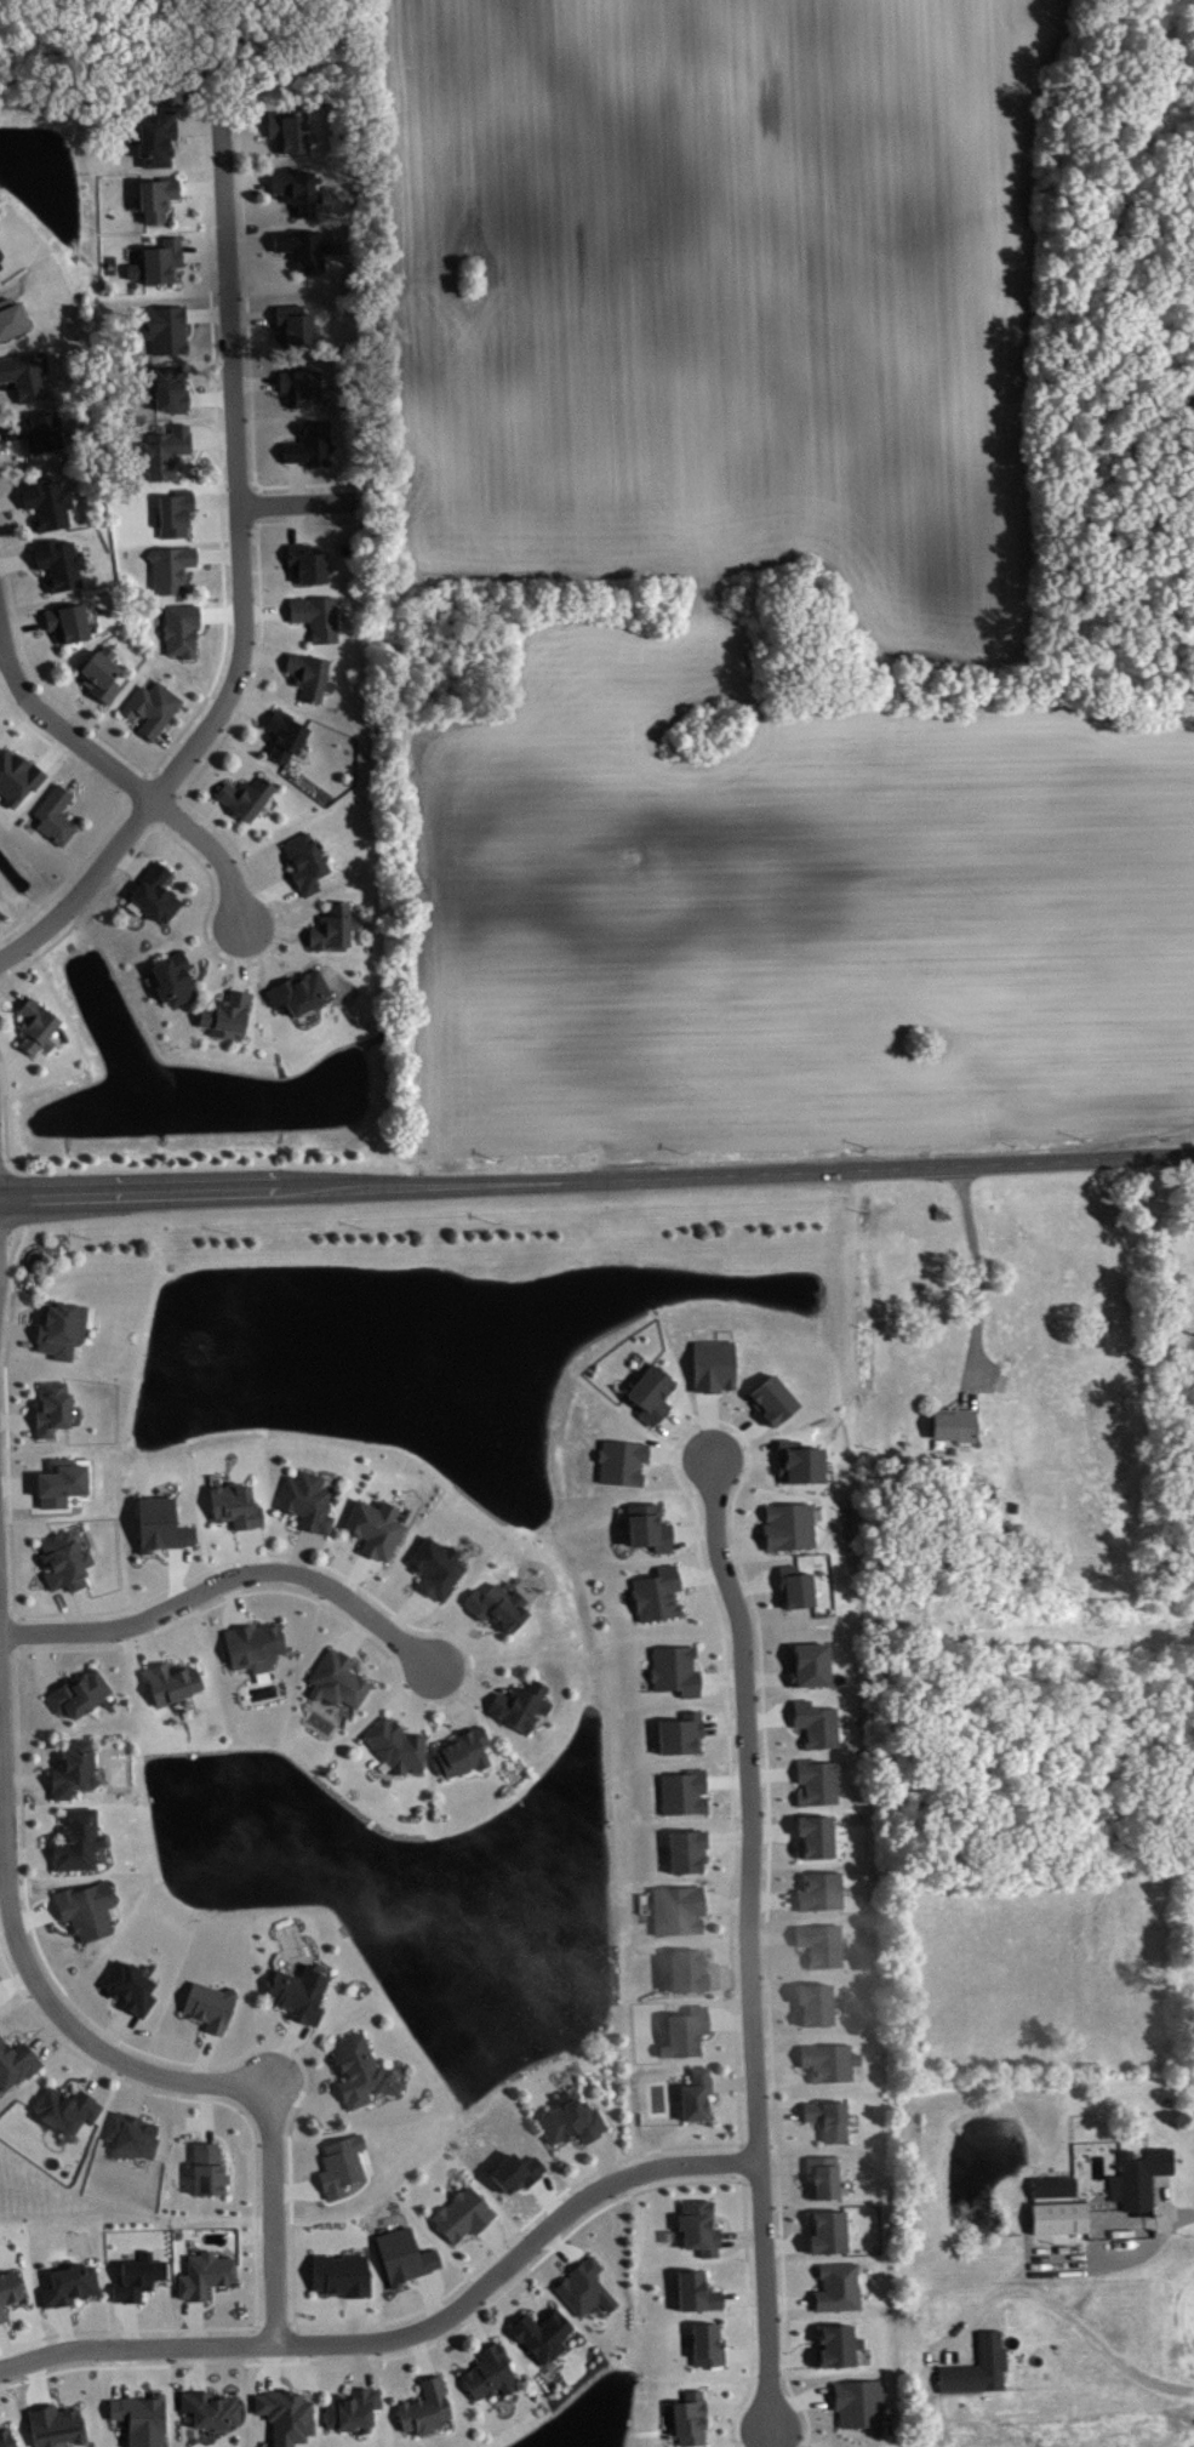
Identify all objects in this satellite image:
road: (198, 124)
road: (242, 126)
building: (286, 129)
road: (262, 136)
building: (156, 138)
road: (181, 138)
road: (245, 179)
road: (200, 186)
building: (296, 188)
road: (265, 194)
building: (155, 195)
road: (240, 198)
road: (181, 199)
road: (205, 199)
road: (248, 241)
building: (303, 246)
road: (202, 253)
road: (270, 253)
building: (161, 259)
road: (184, 262)
building: (1, 268)
crop: (721, 300)
building: (13, 321)
building: (297, 326)
building: (24, 372)
road: (256, 381)
building: (298, 384)
road: (190, 386)
building: (168, 387)
road: (6, 388)
road: (274, 389)
road: (210, 398)
building: (35, 429)
road: (213, 438)
road: (22, 439)
building: (308, 443)
road: (216, 447)
building: (164, 449)
road: (274, 449)
road: (13, 450)
road: (193, 457)
road: (253, 464)
road: (238, 469)
road: (293, 480)
road: (236, 481)
road: (10, 497)
road: (215, 498)
road: (297, 500)
building: (46, 501)
road: (256, 504)
road: (196, 509)
building: (175, 510)
road: (295, 521)
road: (281, 547)
road: (16, 559)
building: (57, 561)
building: (304, 561)
building: (168, 566)
road: (264, 569)
road: (32, 572)
road: (265, 610)
building: (315, 615)
building: (65, 621)
road: (21, 623)
road: (261, 623)
road: (288, 623)
road: (42, 628)
building: (184, 632)
road: (1, 645)
road: (262, 656)
road: (12, 663)
building: (101, 673)
road: (280, 673)
building: (308, 674)
road: (34, 677)
road: (82, 692)
road: (10, 703)
building: (150, 706)
road: (247, 706)
road: (79, 713)
road: (259, 725)
road: (61, 728)
building: (282, 734)
road: (139, 735)
road: (178, 735)
road: (171, 742)
road: (76, 769)
road: (93, 776)
building: (18, 778)
road: (213, 781)
road: (164, 782)
road: (136, 786)
building: (244, 795)
road: (75, 797)
road: (167, 811)
road: (139, 812)
building: (55, 814)
road: (210, 817)
road: (215, 850)
road: (165, 857)
road: (127, 860)
building: (304, 861)
road: (281, 869)
road: (70, 874)
road: (82, 884)
building: (155, 892)
road: (261, 896)
road: (87, 909)
crop: (788, 912)
road: (304, 922)
building: (332, 925)
road: (275, 928)
road: (213, 942)
road: (263, 949)
road: (265, 954)
road: (239, 957)
road: (196, 965)
road: (288, 968)
building: (172, 977)
road: (224, 985)
road: (8, 989)
building: (298, 991)
road: (12, 1009)
building: (225, 1013)
building: (35, 1025)
road: (5, 1130)
road: (596, 1179)
road: (978, 1285)
road: (33, 1316)
building: (59, 1327)
road: (17, 1328)
building: (712, 1364)
building: (649, 1392)
building: (771, 1398)
road: (28, 1403)
road: (672, 1404)
building: (51, 1407)
road: (16, 1418)
building: (953, 1422)
road: (730, 1424)
road: (710, 1425)
road: (686, 1434)
road: (738, 1437)
road: (745, 1454)
road: (680, 1455)
building: (621, 1460)
building: (798, 1461)
road: (649, 1462)
building: (61, 1481)
road: (18, 1483)
building: (304, 1499)
building: (234, 1505)
road: (670, 1518)
building: (160, 1523)
road: (756, 1524)
building: (787, 1525)
building: (373, 1527)
building: (646, 1527)
road: (284, 1529)
road: (691, 1529)
road: (229, 1531)
road: (738, 1533)
road: (353, 1548)
road: (246, 1550)
road: (298, 1551)
road: (11, 1553)
building: (63, 1561)
building: (434, 1565)
road: (173, 1574)
road: (353, 1574)
road: (698, 1574)
road: (228, 1578)
road: (44, 1581)
road: (409, 1582)
road: (753, 1584)
building: (793, 1585)
road: (773, 1587)
road: (682, 1591)
building: (655, 1592)
road: (713, 1597)
road: (312, 1598)
road: (234, 1601)
building: (495, 1604)
road: (69, 1607)
road: (405, 1610)
road: (6, 1613)
road: (251, 1615)
road: (480, 1627)
road: (17, 1631)
road: (355, 1633)
road: (451, 1638)
road: (145, 1642)
building: (252, 1644)
road: (7, 1653)
road: (167, 1654)
road: (358, 1658)
road: (42, 1659)
building: (807, 1664)
road: (699, 1665)
road: (781, 1665)
building: (673, 1669)
road: (760, 1671)
road: (65, 1673)
road: (720, 1677)
road: (765, 1677)
building: (336, 1678)
building: (168, 1679)
road: (463, 1682)
road: (495, 1683)
building: (78, 1692)
road: (449, 1698)
road: (418, 1699)
building: (518, 1704)
road: (767, 1716)
building: (813, 1723)
road: (721, 1726)
road: (407, 1728)
road: (447, 1730)
road: (787, 1730)
building: (678, 1733)
road: (704, 1734)
building: (395, 1745)
building: (461, 1750)
road: (45, 1763)
building: (72, 1768)
road: (771, 1772)
road: (25, 1779)
road: (725, 1779)
road: (793, 1780)
building: (815, 1781)
road: (1, 1786)
road: (705, 1790)
building: (681, 1791)
road: (772, 1826)
road: (46, 1835)
road: (727, 1836)
building: (813, 1836)
building: (76, 1839)
road: (709, 1848)
building: (685, 1849)
road: (28, 1850)
road: (2, 1863)
road: (790, 1887)
building: (818, 1890)
road: (771, 1898)
road: (725, 1904)
building: (675, 1909)
building: (90, 1912)
road: (707, 1913)
road: (4, 1915)
road: (766, 1921)
road: (770, 1935)
road: (748, 1940)
building: (819, 1943)
road: (794, 1950)
road: (731, 1951)
building: (686, 1969)
road: (15, 1978)
road: (34, 1978)
road: (726, 1978)
building: (127, 1985)
building: (297, 1991)
road: (773, 1995)
road: (792, 2003)
building: (813, 2003)
building: (208, 2004)
road: (110, 2007)
road: (280, 2018)
road: (729, 2020)
road: (113, 2027)
building: (684, 2030)
road: (17, 2032)
road: (47, 2032)
road: (199, 2032)
road: (712, 2036)
road: (281, 2050)
road: (202, 2055)
road: (776, 2055)
road: (772, 2060)
building: (828, 2060)
building: (16, 2061)
road: (218, 2063)
road: (798, 2066)
building: (359, 2070)
road: (98, 2072)
road: (73, 2080)
road: (330, 2080)
road: (732, 2082)
road: (136, 2092)
building: (693, 2093)
road: (198, 2099)
road: (302, 2099)
road: (719, 2099)
building: (64, 2107)
road: (147, 2110)
road: (205, 2111)
road: (779, 2112)
building: (827, 2117)
building: (570, 2120)
road: (801, 2124)
building: (128, 2134)
road: (759, 2144)
road: (579, 2149)
road: (651, 2149)
road: (227, 2150)
road: (604, 2160)
road: (741, 2160)
building: (339, 2163)
road: (782, 2166)
building: (206, 2168)
building: (519, 2174)
building: (821, 2175)
building: (1138, 2175)
road: (798, 2178)
road: (750, 2179)
building: (1052, 2186)
road: (1181, 2211)
road: (270, 2213)
building: (461, 2213)
building: (1058, 2217)
road: (725, 2218)
building: (697, 2226)
building: (827, 2231)
road: (739, 2235)
road: (476, 2237)
road: (497, 2242)
road: (493, 2251)
road: (745, 2251)
building: (402, 2255)
building: (204, 2274)
building: (339, 2274)
building: (136, 2275)
building: (68, 2283)
road: (415, 2283)
road: (722, 2283)
road: (809, 2285)
building: (836, 2286)
building: (8, 2288)
building: (588, 2291)
building: (693, 2291)
road: (430, 2297)
road: (743, 2297)
road: (784, 2298)
road: (499, 2299)
road: (211, 2300)
road: (789, 2300)
road: (341, 2301)
road: (142, 2303)
road: (526, 2304)
road: (75, 2308)
road: (291, 2314)
road: (1068, 2315)
road: (353, 2317)
road: (10, 2318)
road: (195, 2321)
road: (131, 2322)
road: (473, 2325)
road: (64, 2327)
road: (122, 2328)
road: (404, 2333)
building: (541, 2333)
road: (729, 2340)
building: (704, 2343)
building: (836, 2344)
road: (474, 2346)
road: (811, 2346)
road: (4, 2352)
road: (421, 2352)
road: (745, 2354)
road: (793, 2357)
road: (364, 2360)
road: (356, 2363)
building: (977, 2366)
road: (199, 2367)
building: (487, 2372)
road: (411, 2379)
road: (39, 2380)
road: (18, 2382)
road: (343, 2382)
road: (212, 2383)
road: (795, 2400)
building: (857, 2402)
road: (828, 2405)
building: (424, 2406)
building: (350, 2407)
building: (210, 2408)
road: (738, 2412)
building: (285, 2414)
building: (689, 2417)
building: (141, 2419)
road: (712, 2422)
building: (53, 2425)
building: (6, 2437)
road: (758, 2437)
road: (767, 2437)
road: (777, 2437)
road: (804, 2446)

